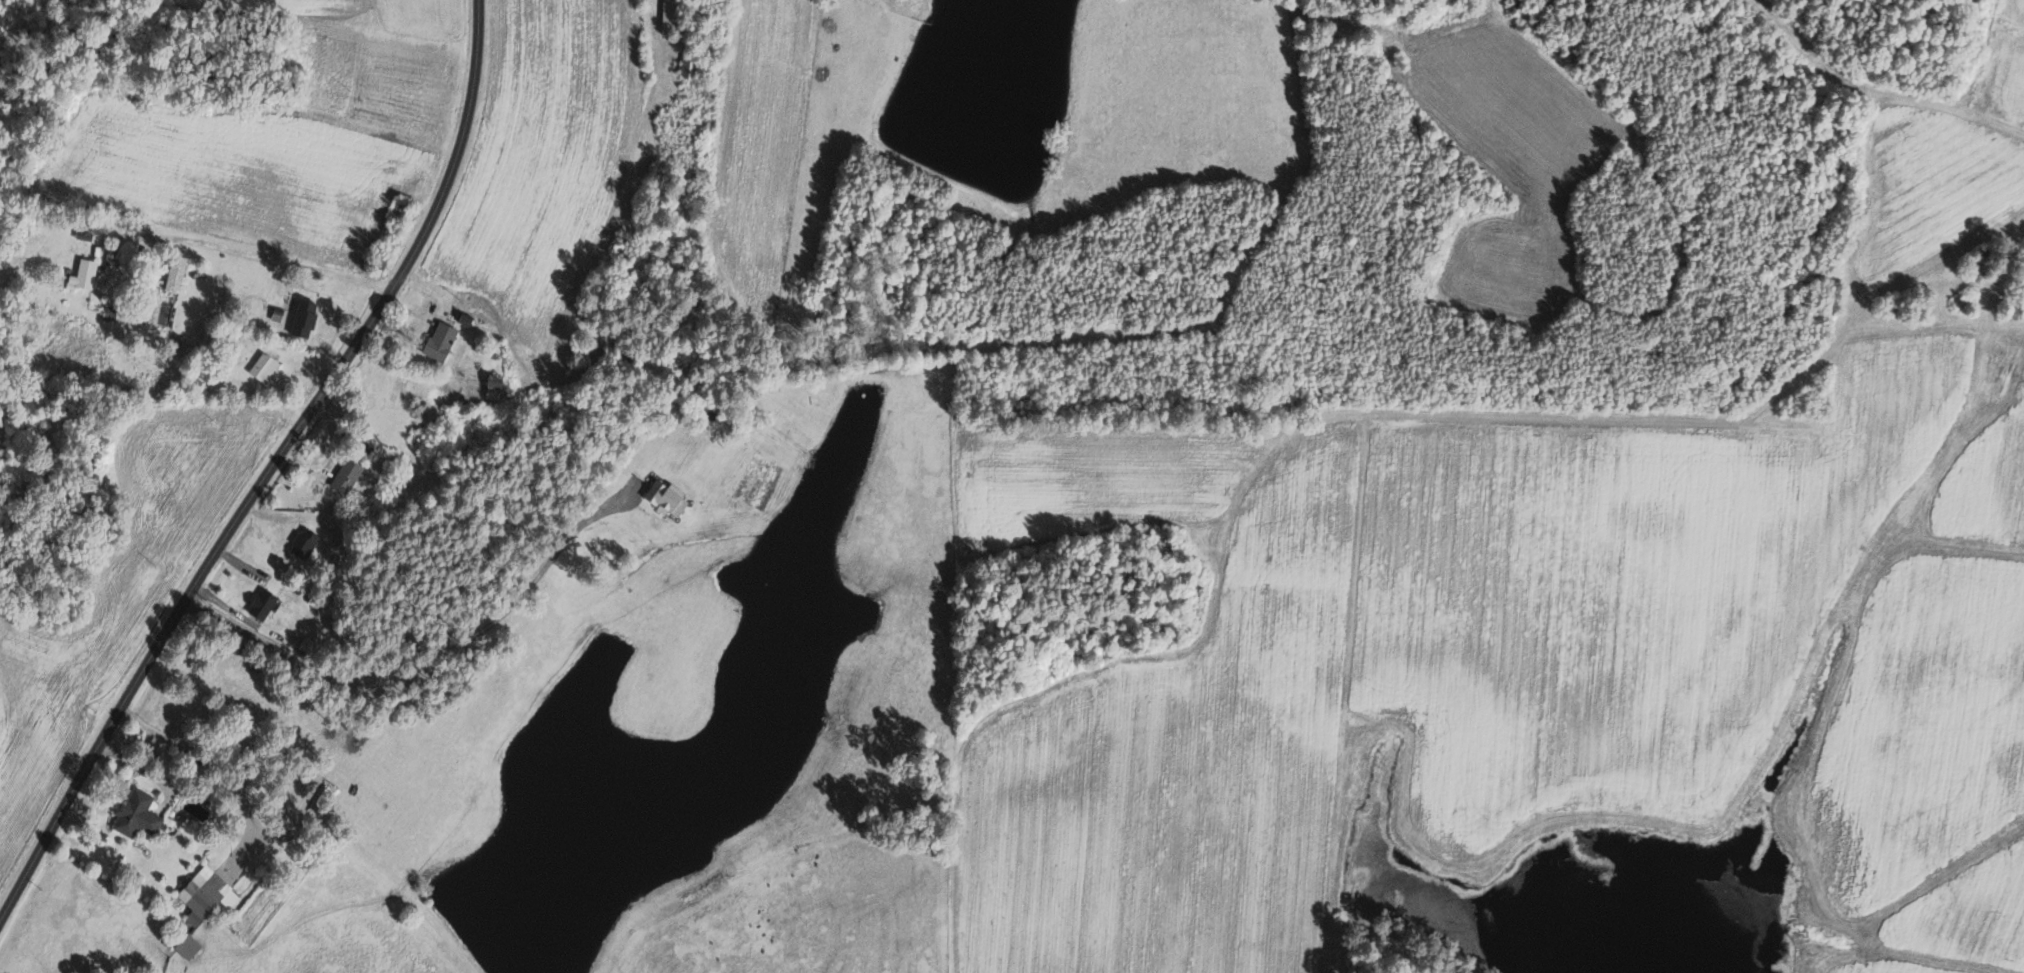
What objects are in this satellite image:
building: (665, 15)
road: (268, 261)
building: (87, 275)
building: (113, 312)
building: (445, 341)
building: (267, 367)
building: (498, 390)
road: (269, 470)
building: (351, 475)
building: (308, 542)
building: (267, 604)
building: (313, 645)
road: (427, 654)
road: (200, 760)
building: (141, 816)
building: (207, 895)

